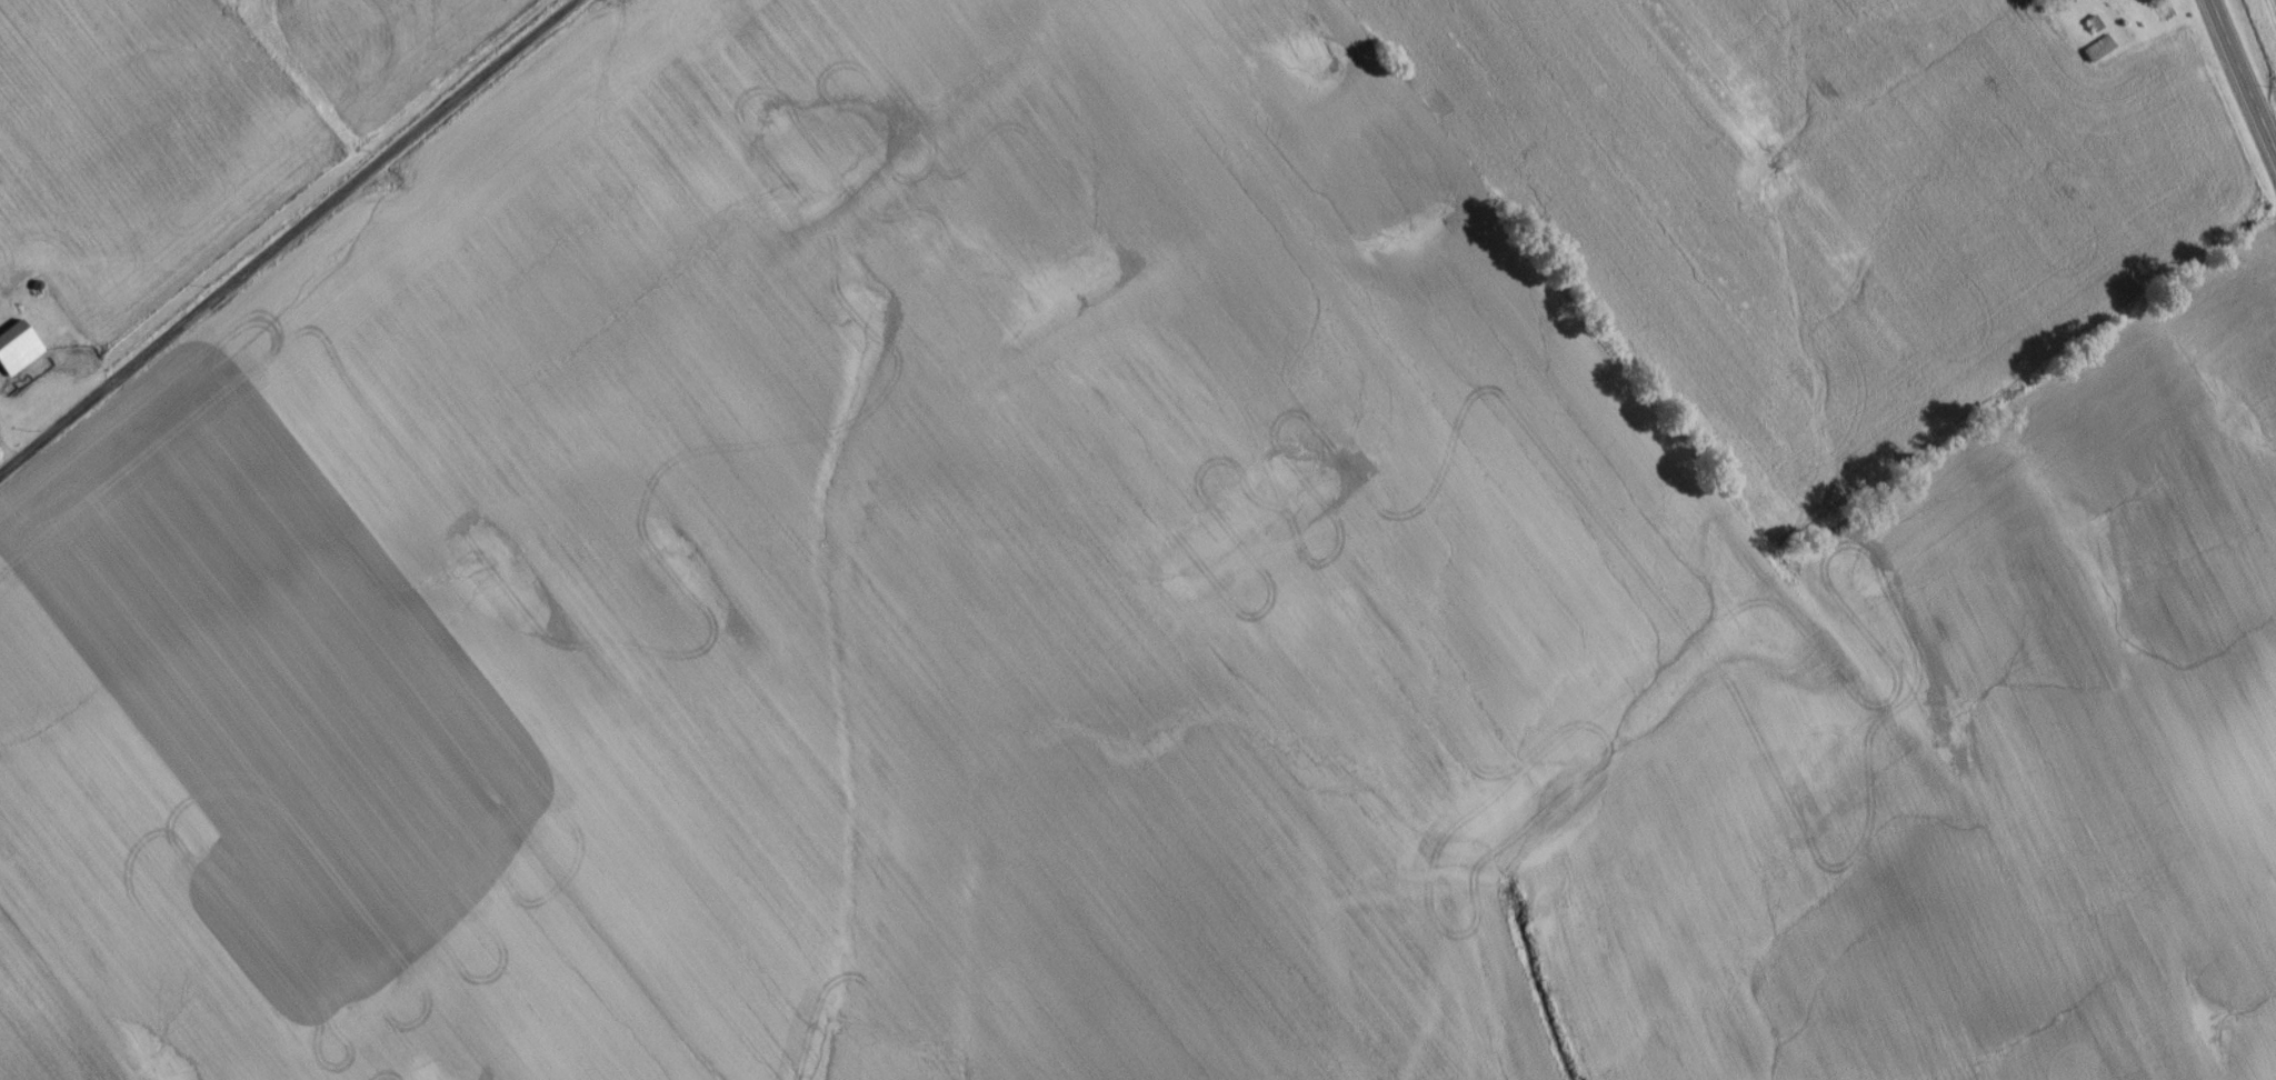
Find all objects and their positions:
road: (2242, 79)
road: (286, 233)
building: (16, 356)

